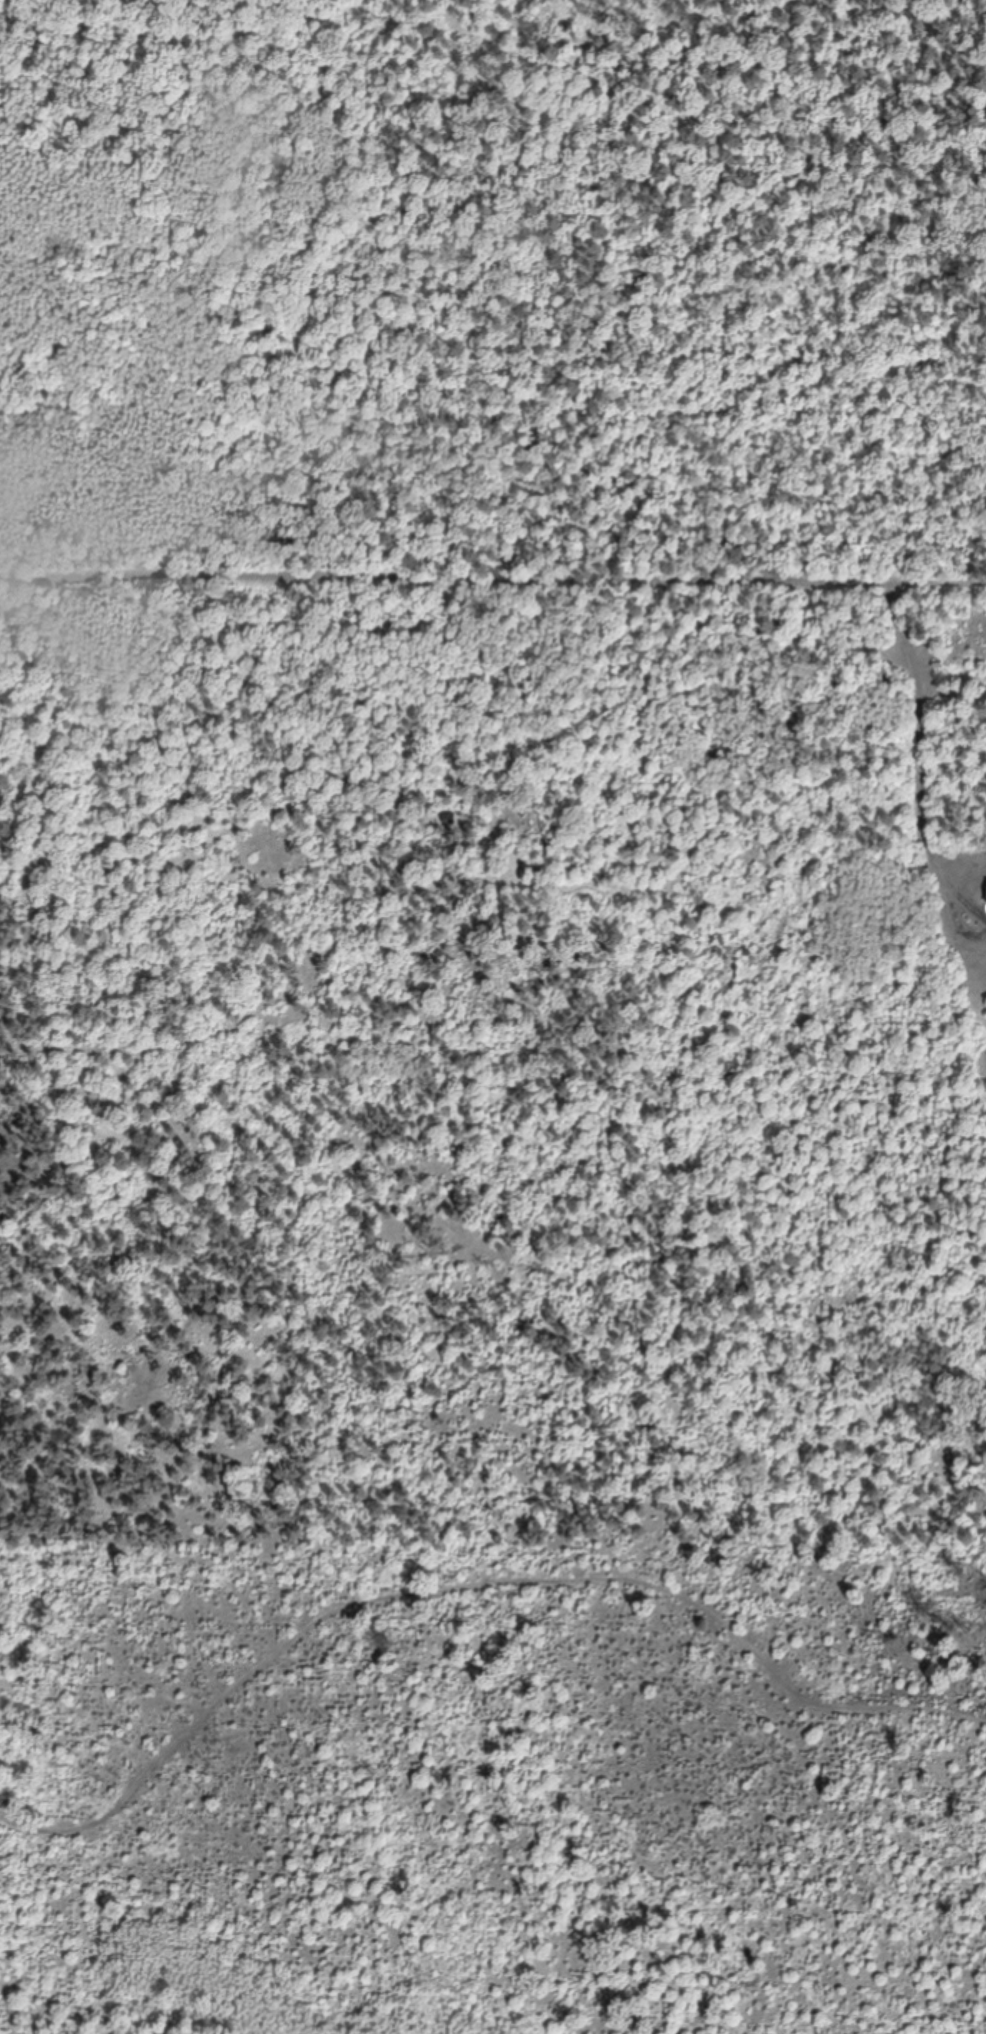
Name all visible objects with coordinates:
road: (493, 587)

